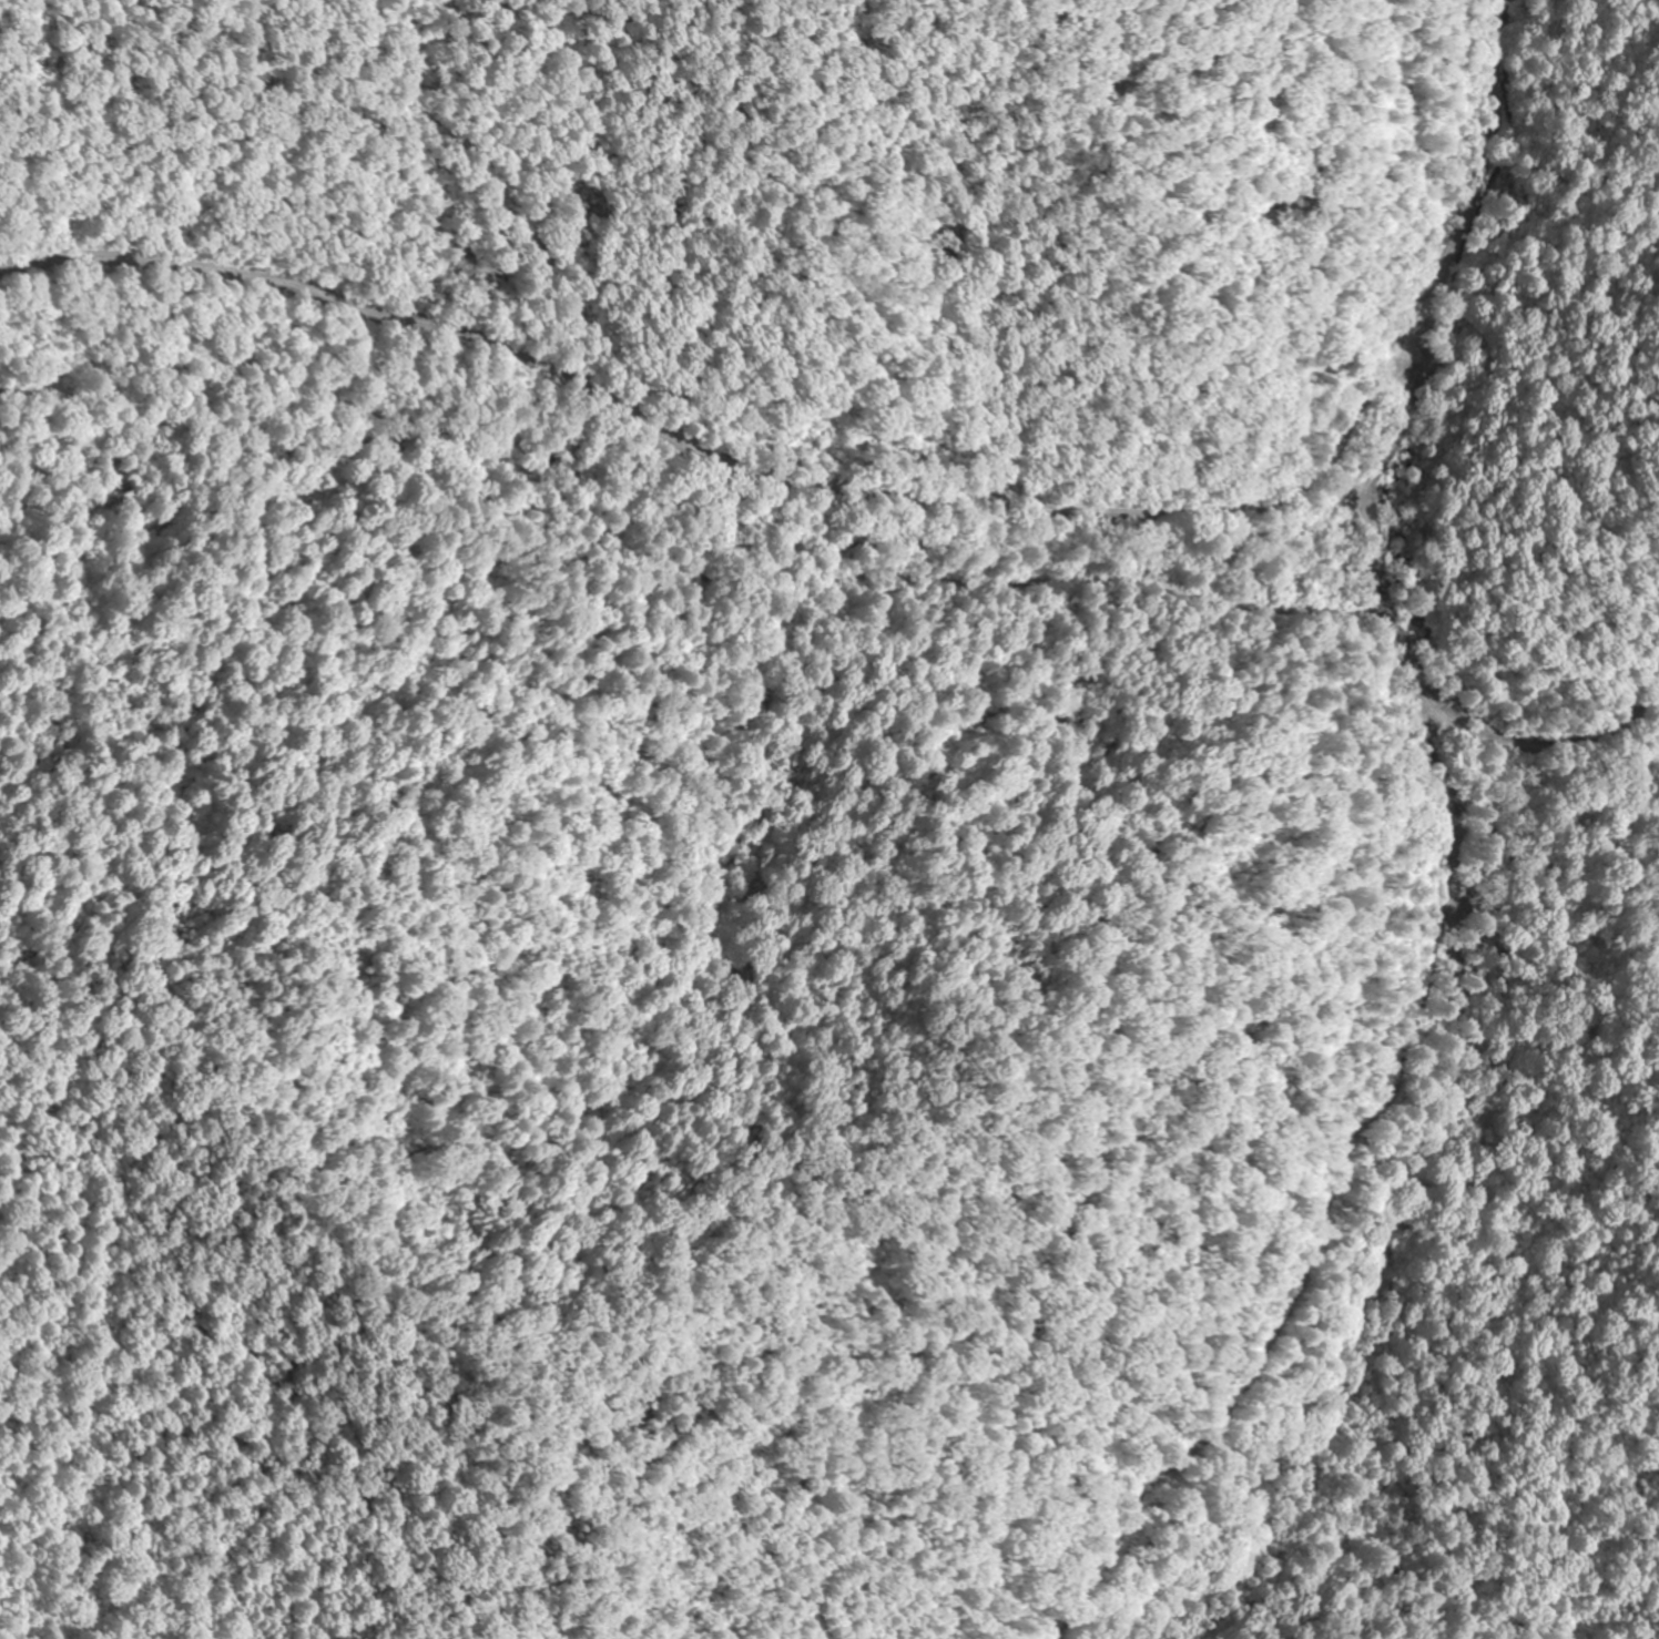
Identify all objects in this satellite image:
road: (896, 493)

